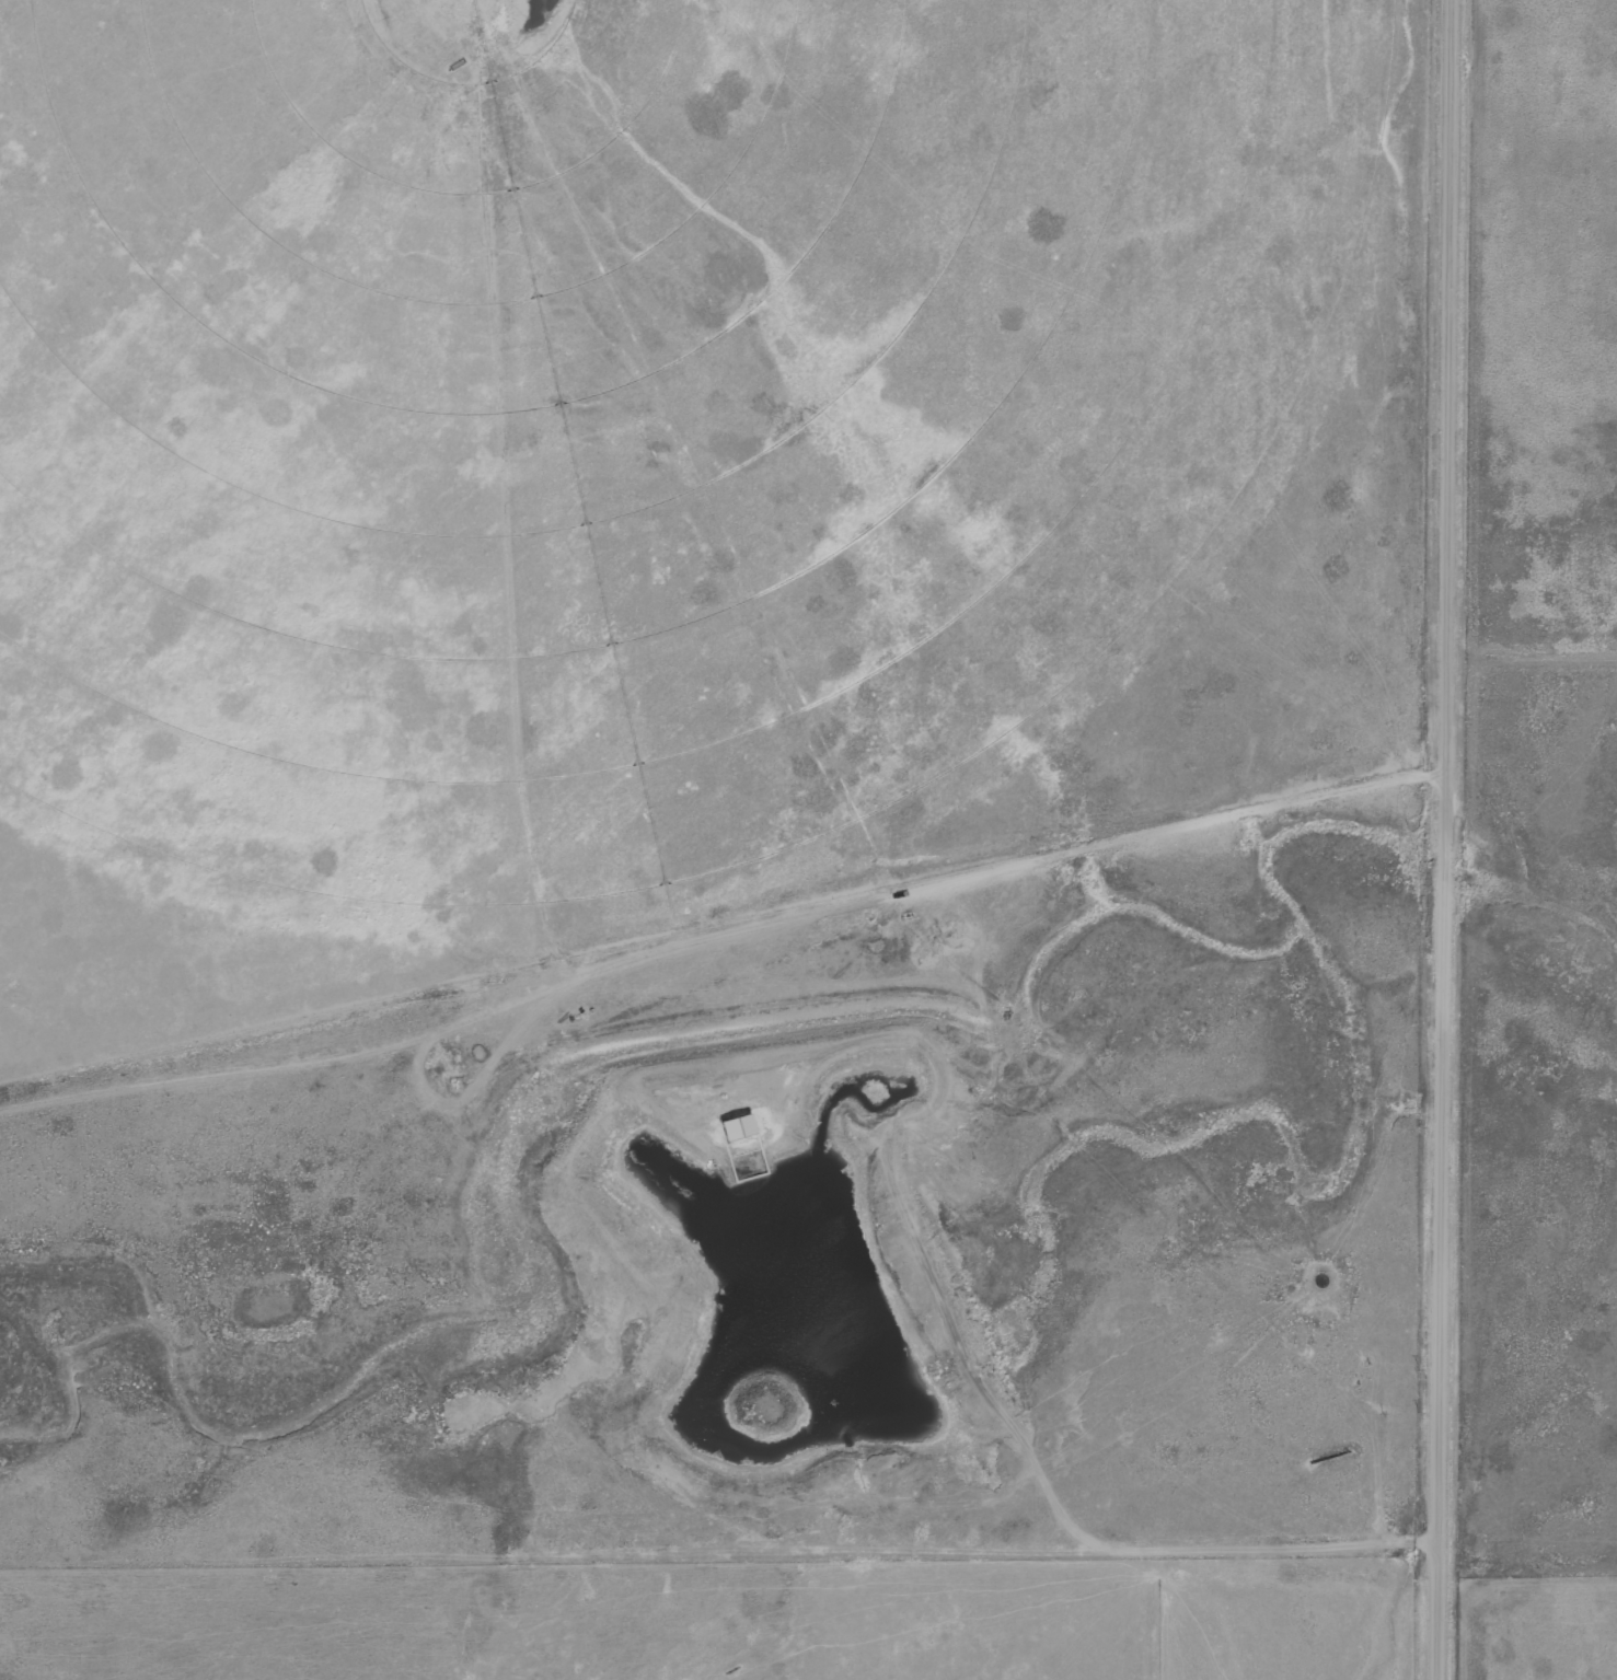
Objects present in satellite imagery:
road: (1449, 839)

